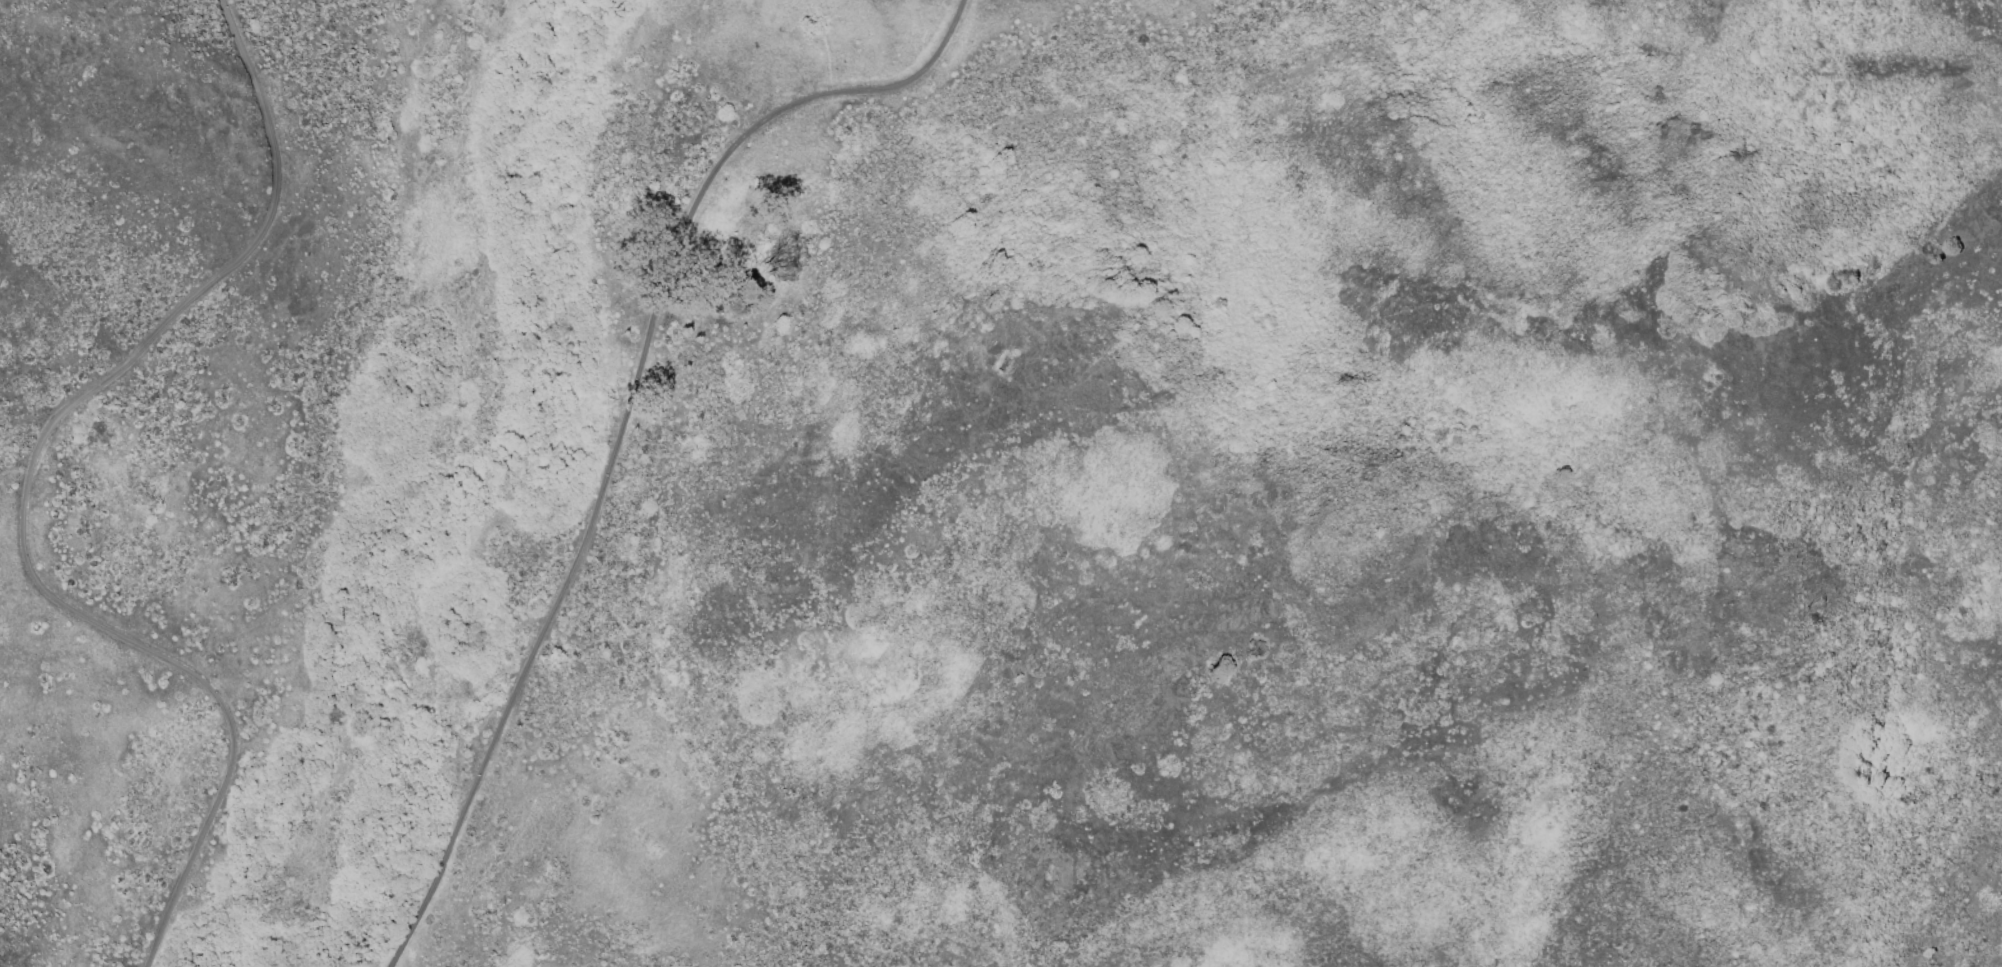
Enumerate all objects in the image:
road: (622, 423)
road: (23, 486)

